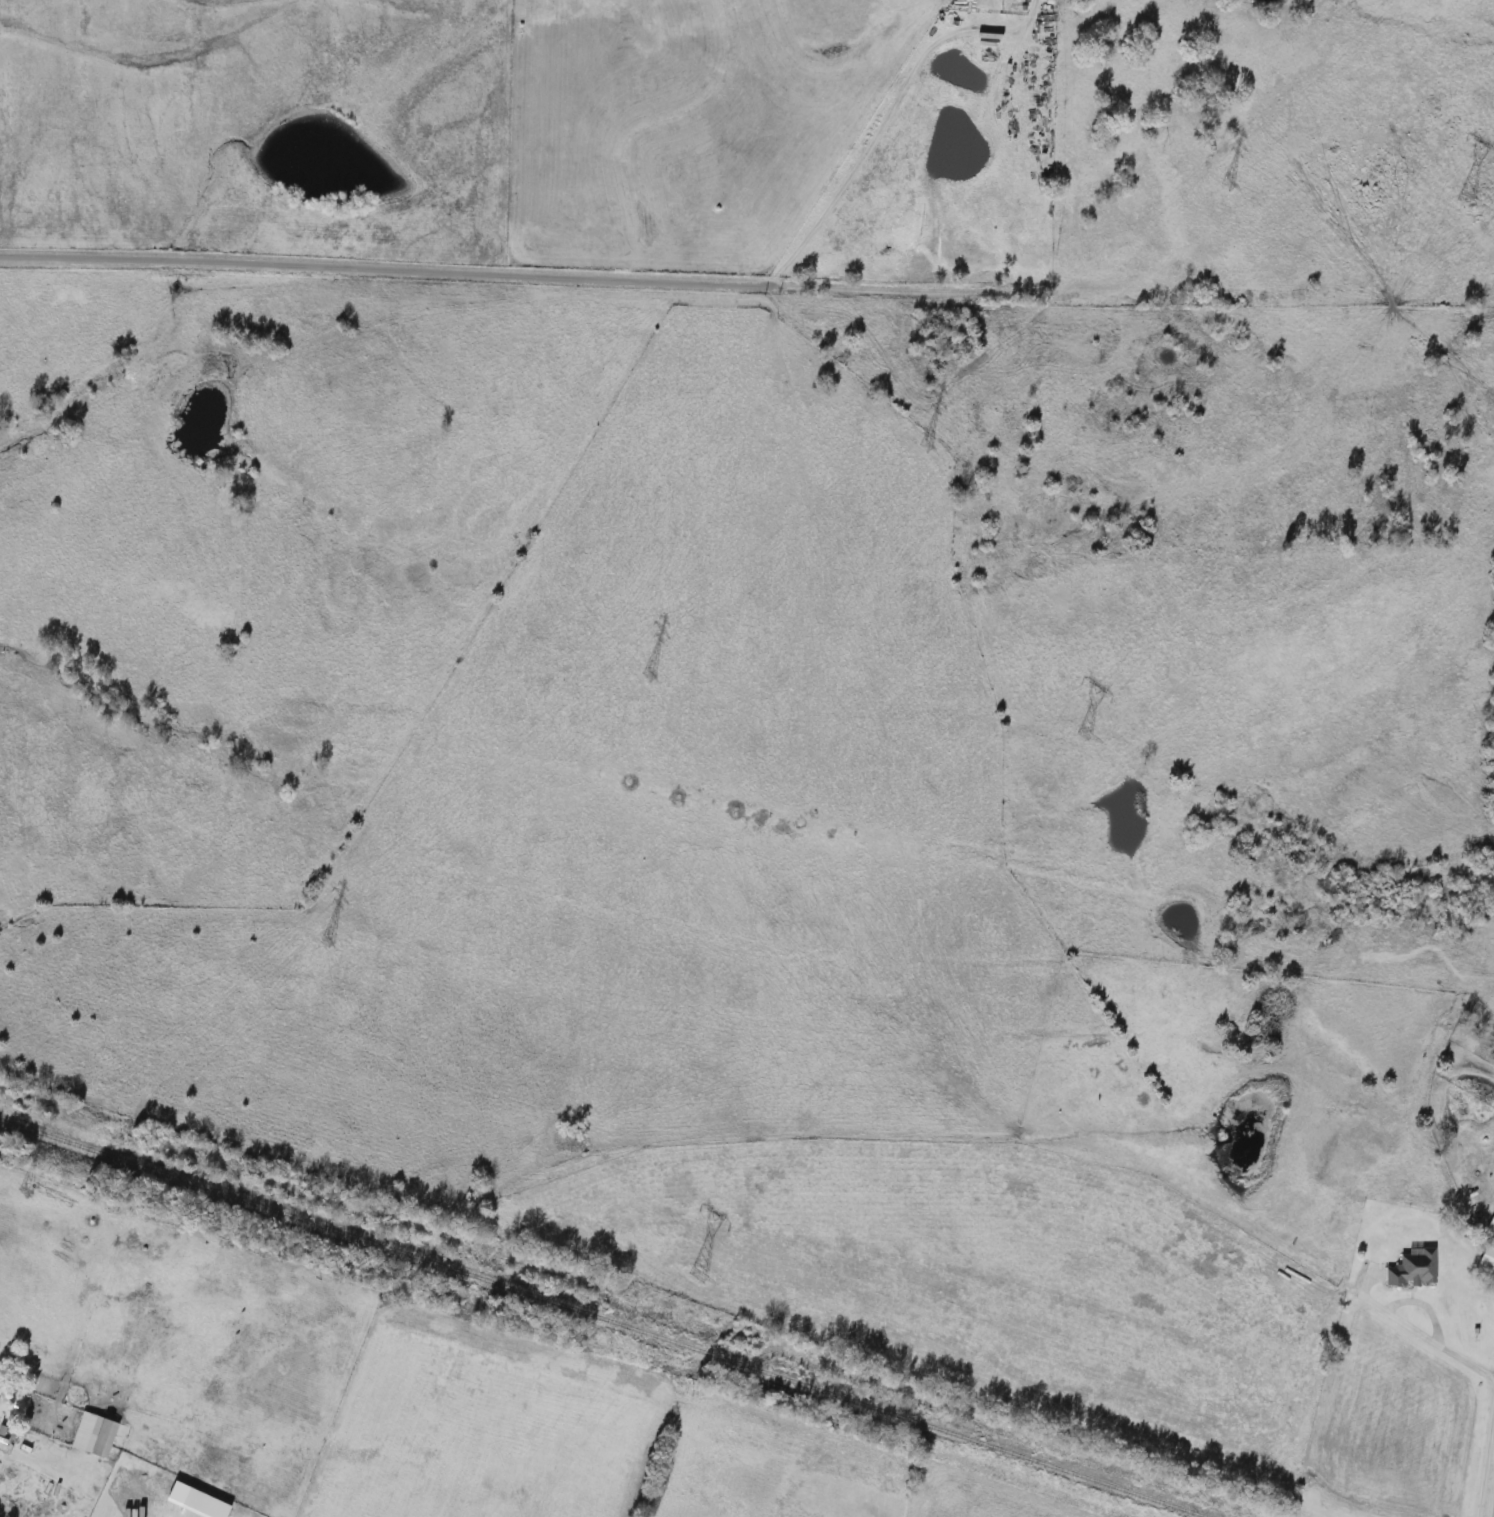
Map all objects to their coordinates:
road: (876, 130)
power tower: (1212, 183)
power tower: (1460, 201)
road: (373, 270)
power tower: (923, 449)
power tower: (646, 682)
power tower: (1080, 736)
power tower: (325, 951)
power tower: (33, 1193)
building: (1489, 1228)
building: (1485, 1259)
building: (1409, 1269)
power tower: (697, 1276)
road: (1396, 1301)
railway: (601, 1318)
road: (1465, 1357)
building: (0, 1382)
building: (96, 1435)
road: (1482, 1458)
building: (223, 1511)

